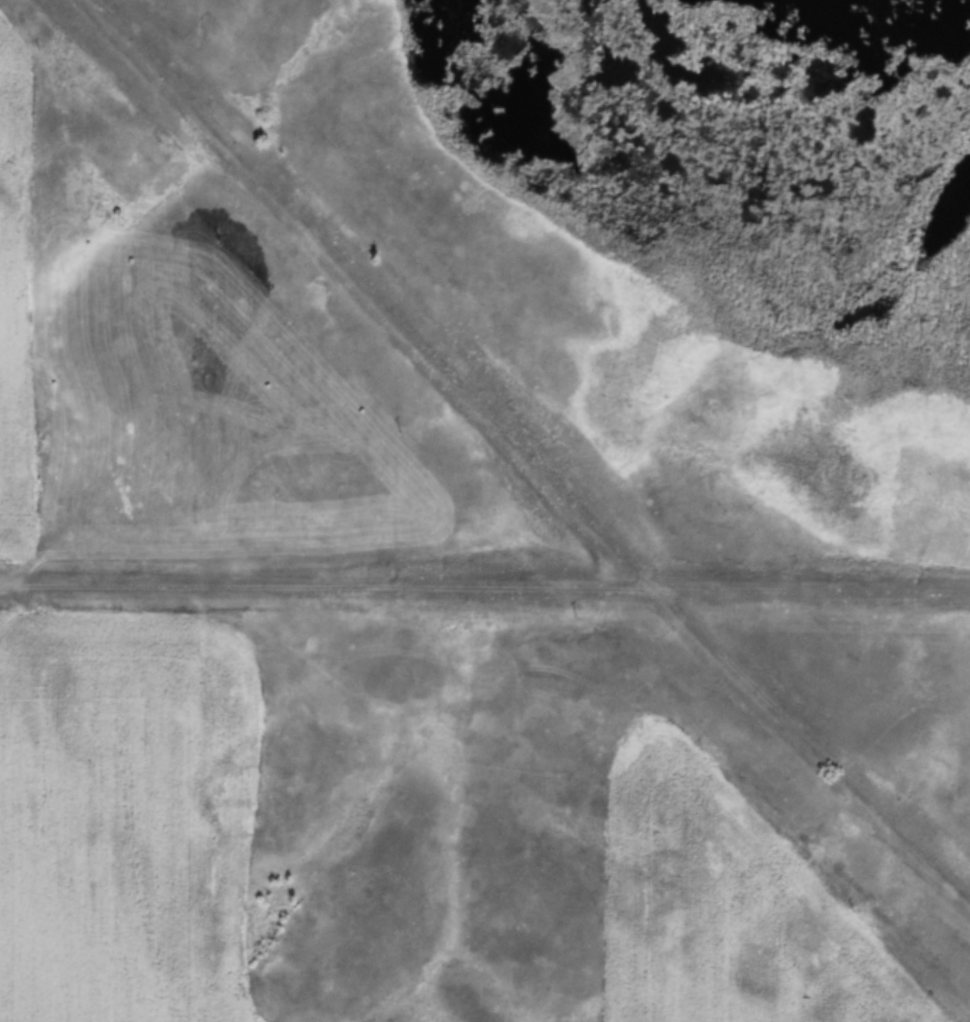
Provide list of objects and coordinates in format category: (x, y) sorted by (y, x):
crop: (10, 320)
road: (375, 582)

